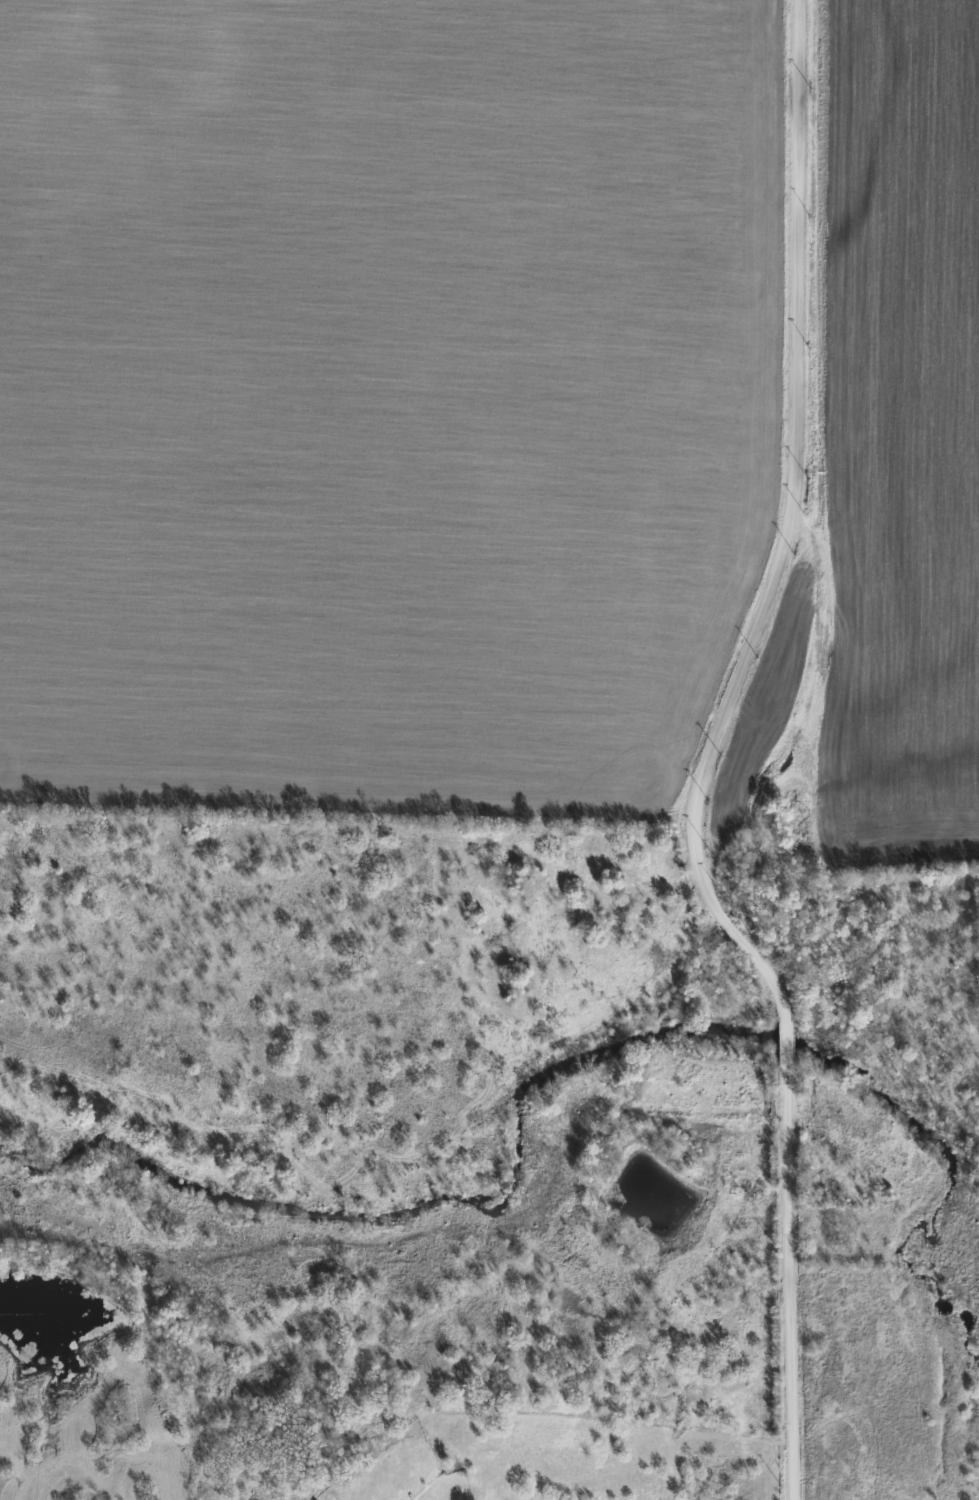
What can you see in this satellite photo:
crop: (376, 398)
road: (781, 535)
road: (786, 1049)
road: (789, 1284)

